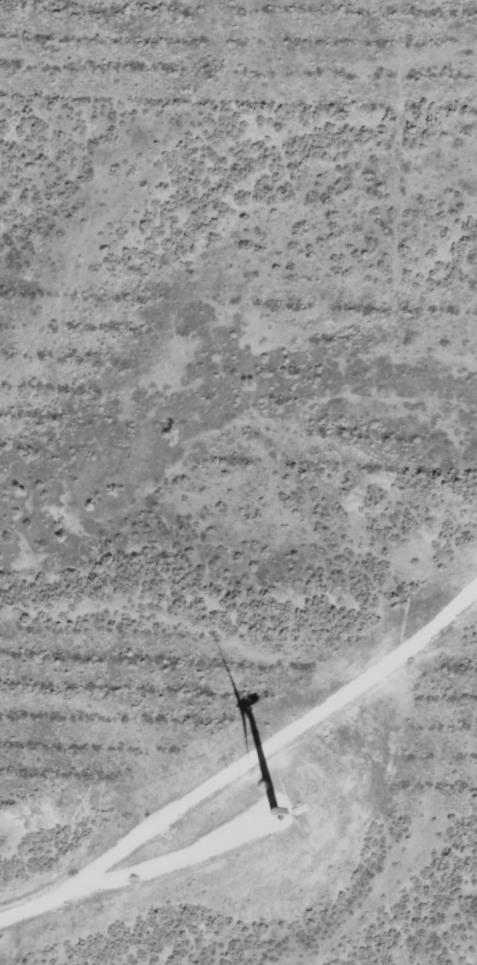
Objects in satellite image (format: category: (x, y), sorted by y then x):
road: (247, 763)
wind turbine: (268, 813)

